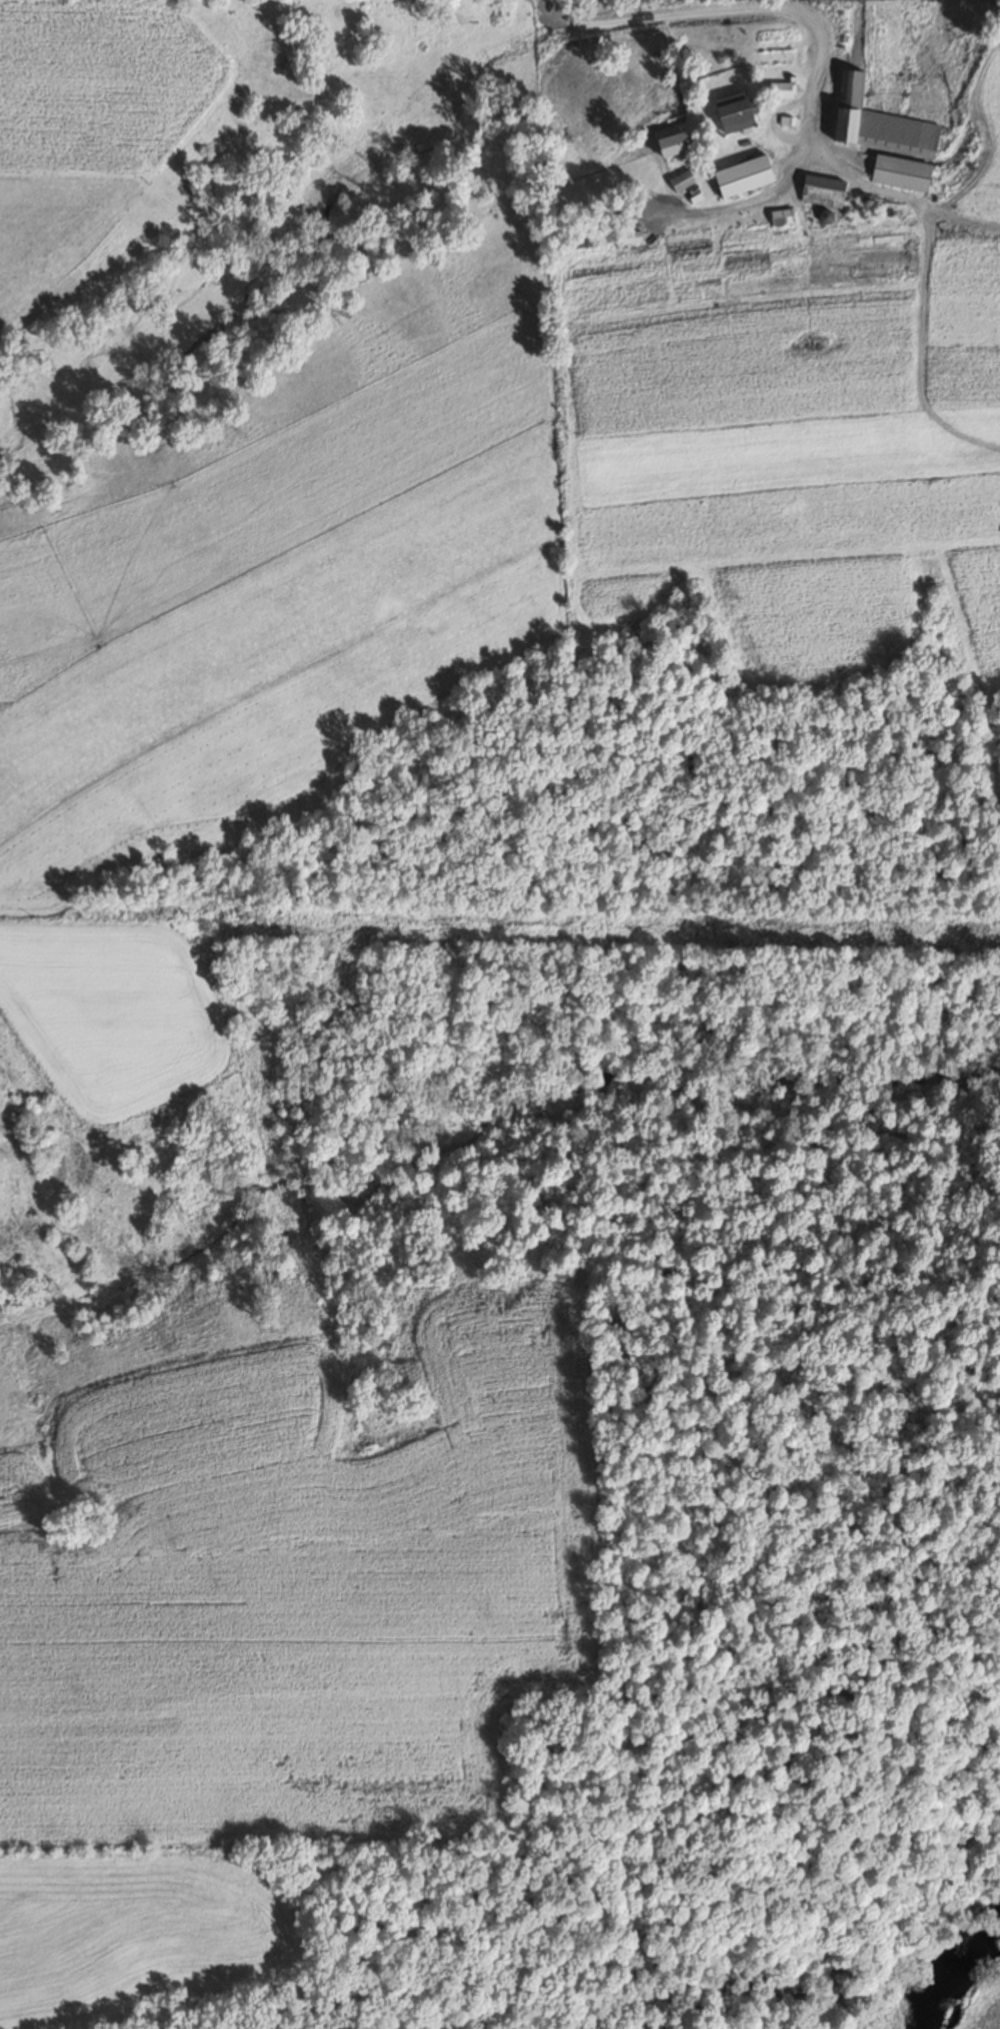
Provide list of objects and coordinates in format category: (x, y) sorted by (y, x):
road: (545, 9)
road: (696, 15)
building: (732, 113)
building: (876, 120)
building: (742, 177)
building: (685, 189)
building: (822, 192)
building: (643, 204)
building: (782, 217)
building: (755, 252)
river: (954, 1965)

